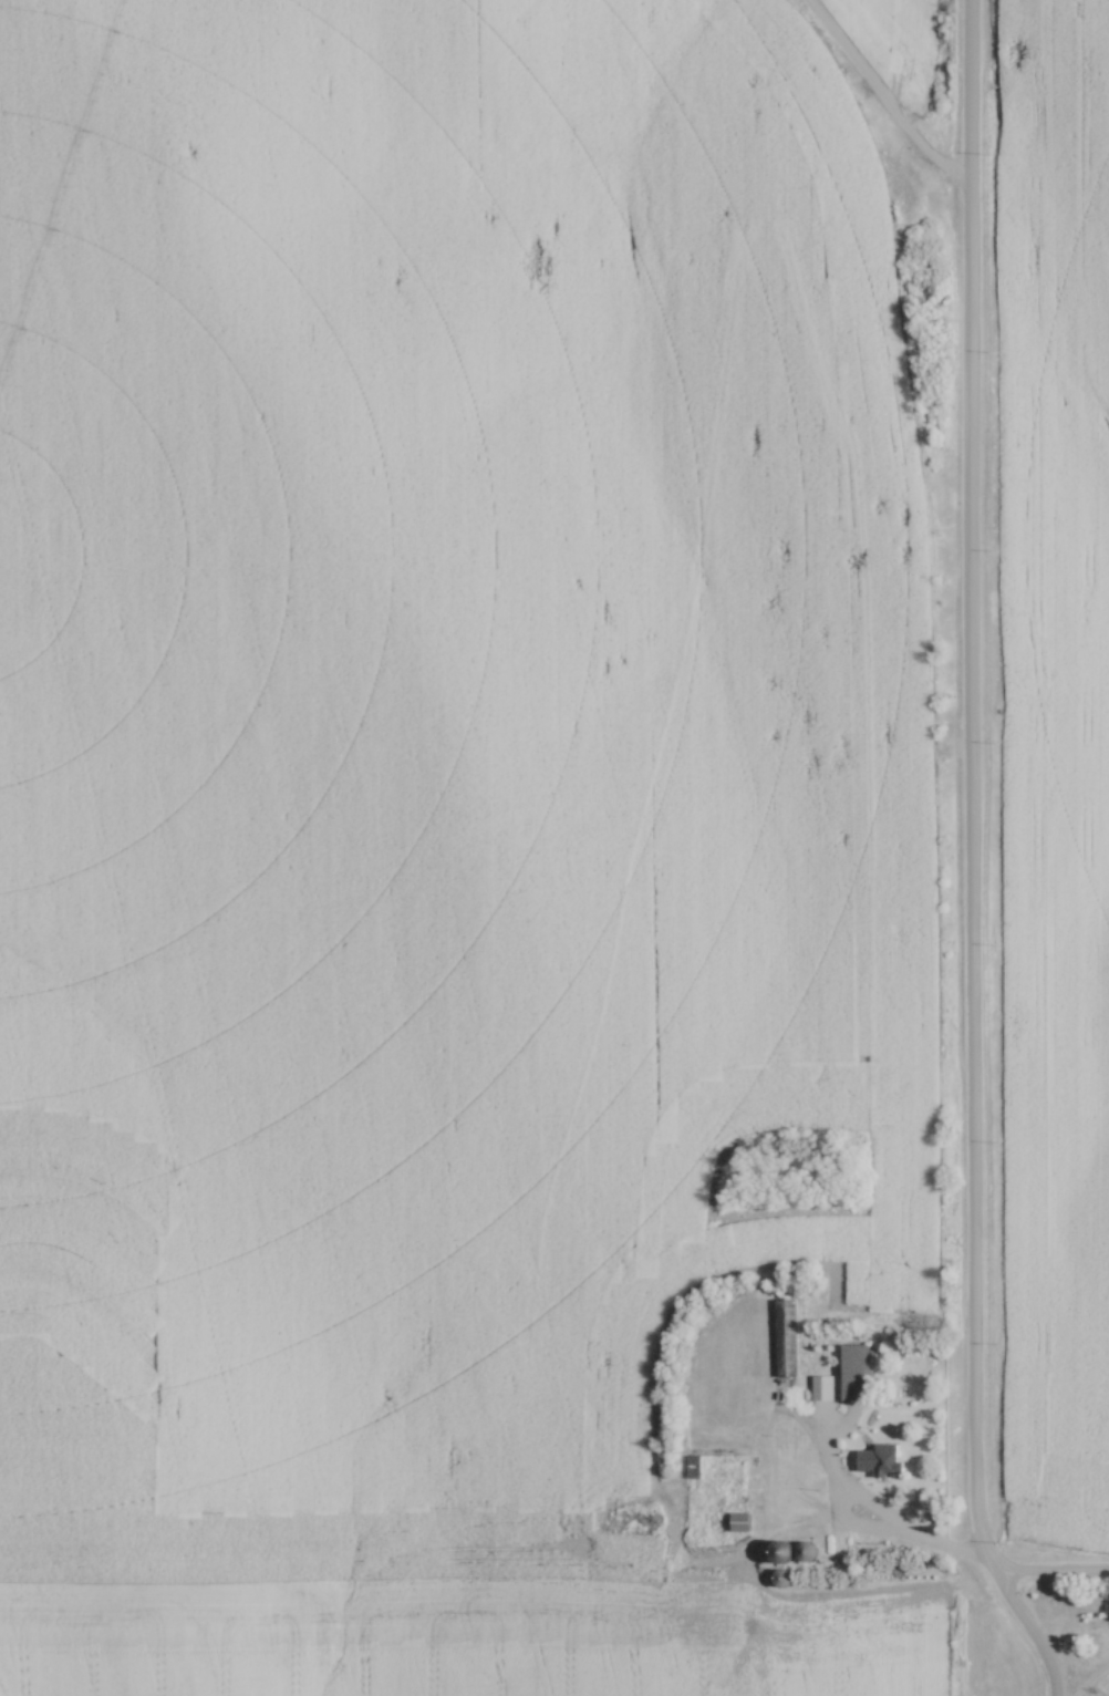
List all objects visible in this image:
road: (880, 92)
road: (967, 858)
building: (787, 1342)
building: (856, 1376)
building: (821, 1390)
road: (797, 1433)
building: (881, 1461)
building: (694, 1468)
building: (743, 1527)
building: (807, 1552)
building: (784, 1554)
building: (840, 1555)
road: (942, 1555)
building: (782, 1580)
road: (1100, 1688)

